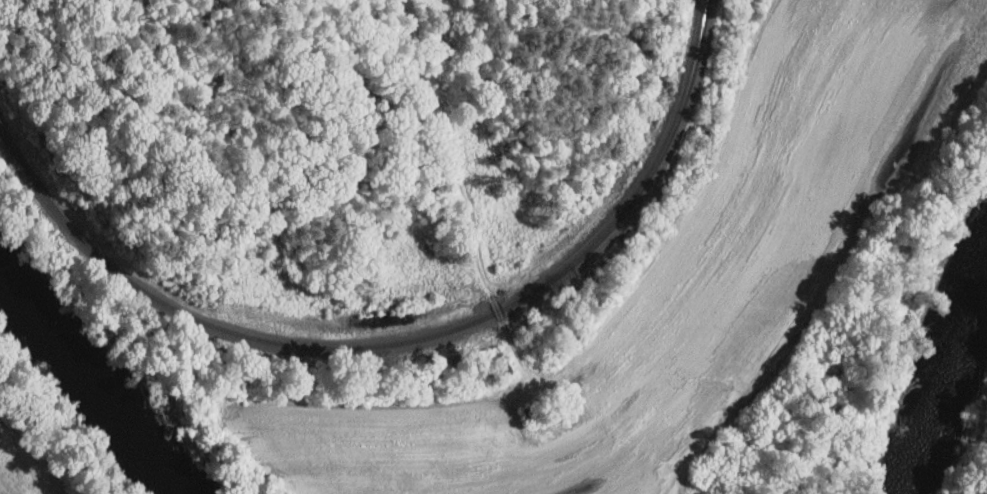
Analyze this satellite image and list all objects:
river: (945, 304)
railway: (406, 341)
river: (87, 385)
river: (918, 442)

